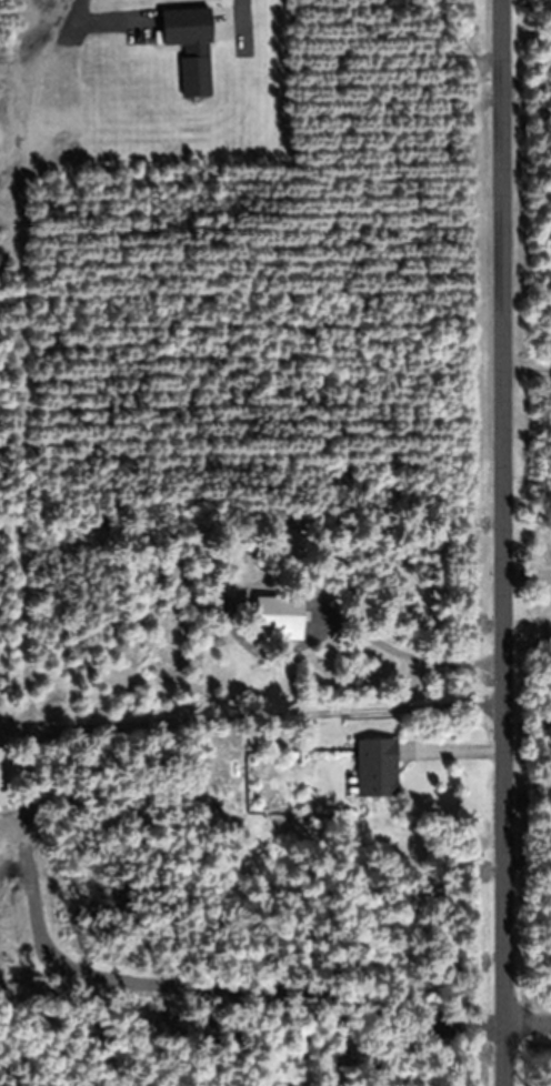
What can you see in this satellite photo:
road: (242, 22)
road: (501, 542)
building: (278, 619)
building: (375, 768)
building: (3, 780)
road: (528, 1027)

